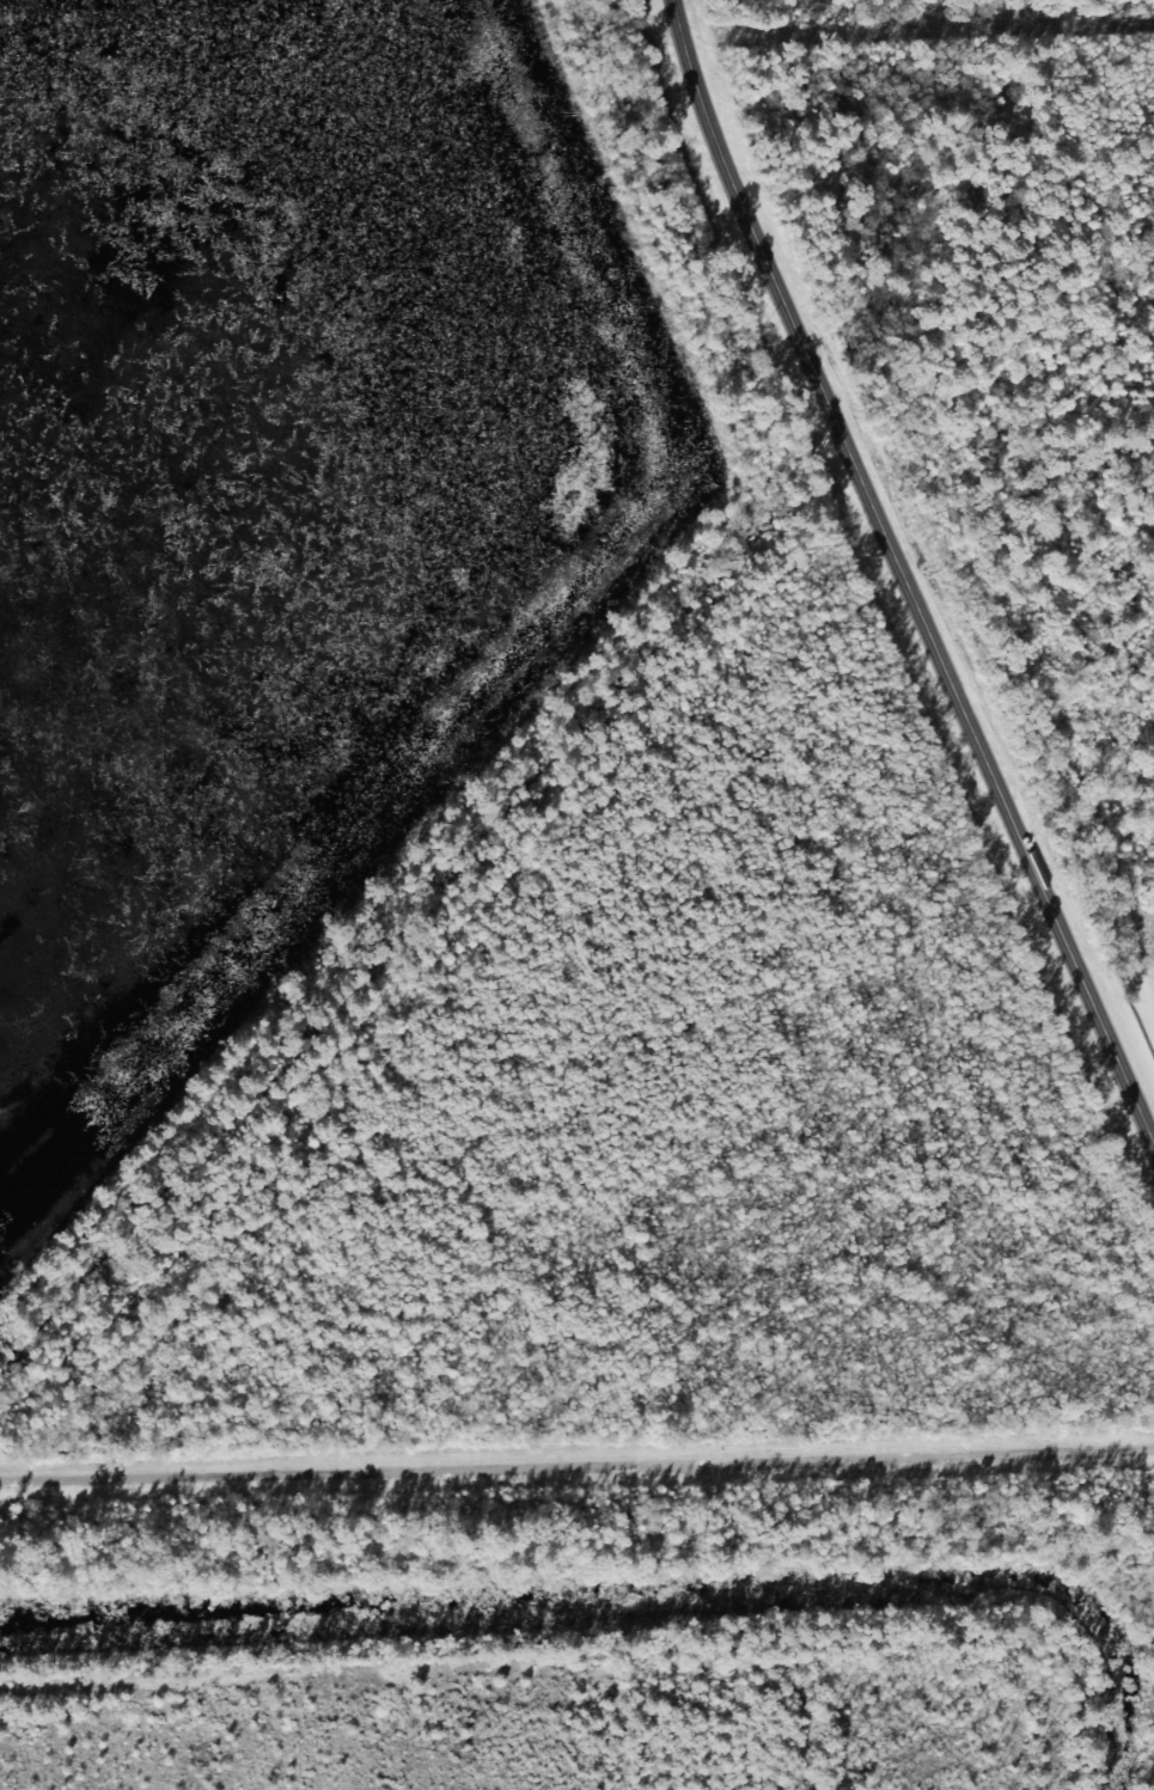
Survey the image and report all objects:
road: (905, 576)
road: (576, 1467)

